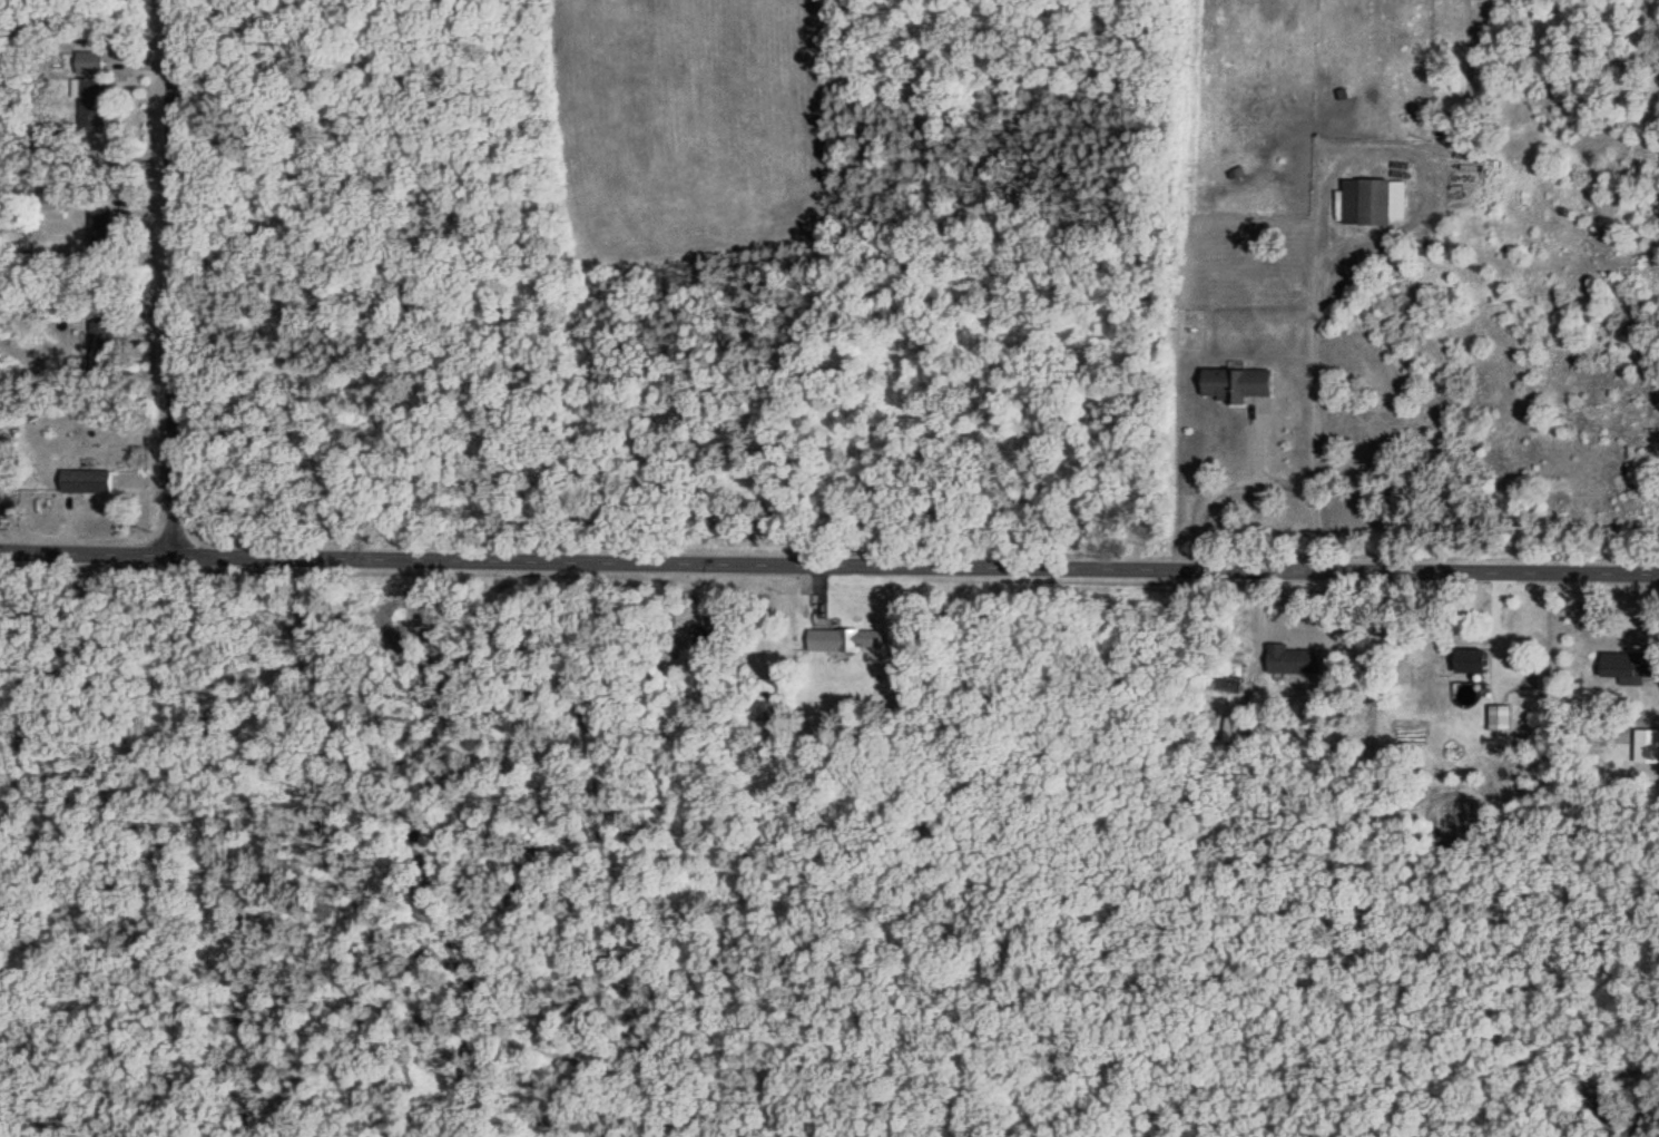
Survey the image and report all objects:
building: (92, 61)
building: (94, 94)
building: (1365, 203)
building: (104, 227)
road: (165, 276)
building: (104, 343)
road: (1317, 345)
building: (1237, 383)
road: (1262, 476)
building: (89, 480)
road: (829, 561)
building: (718, 636)
building: (848, 638)
building: (1292, 659)
building: (1470, 660)
building: (1628, 666)
building: (1234, 728)
building: (1647, 746)

